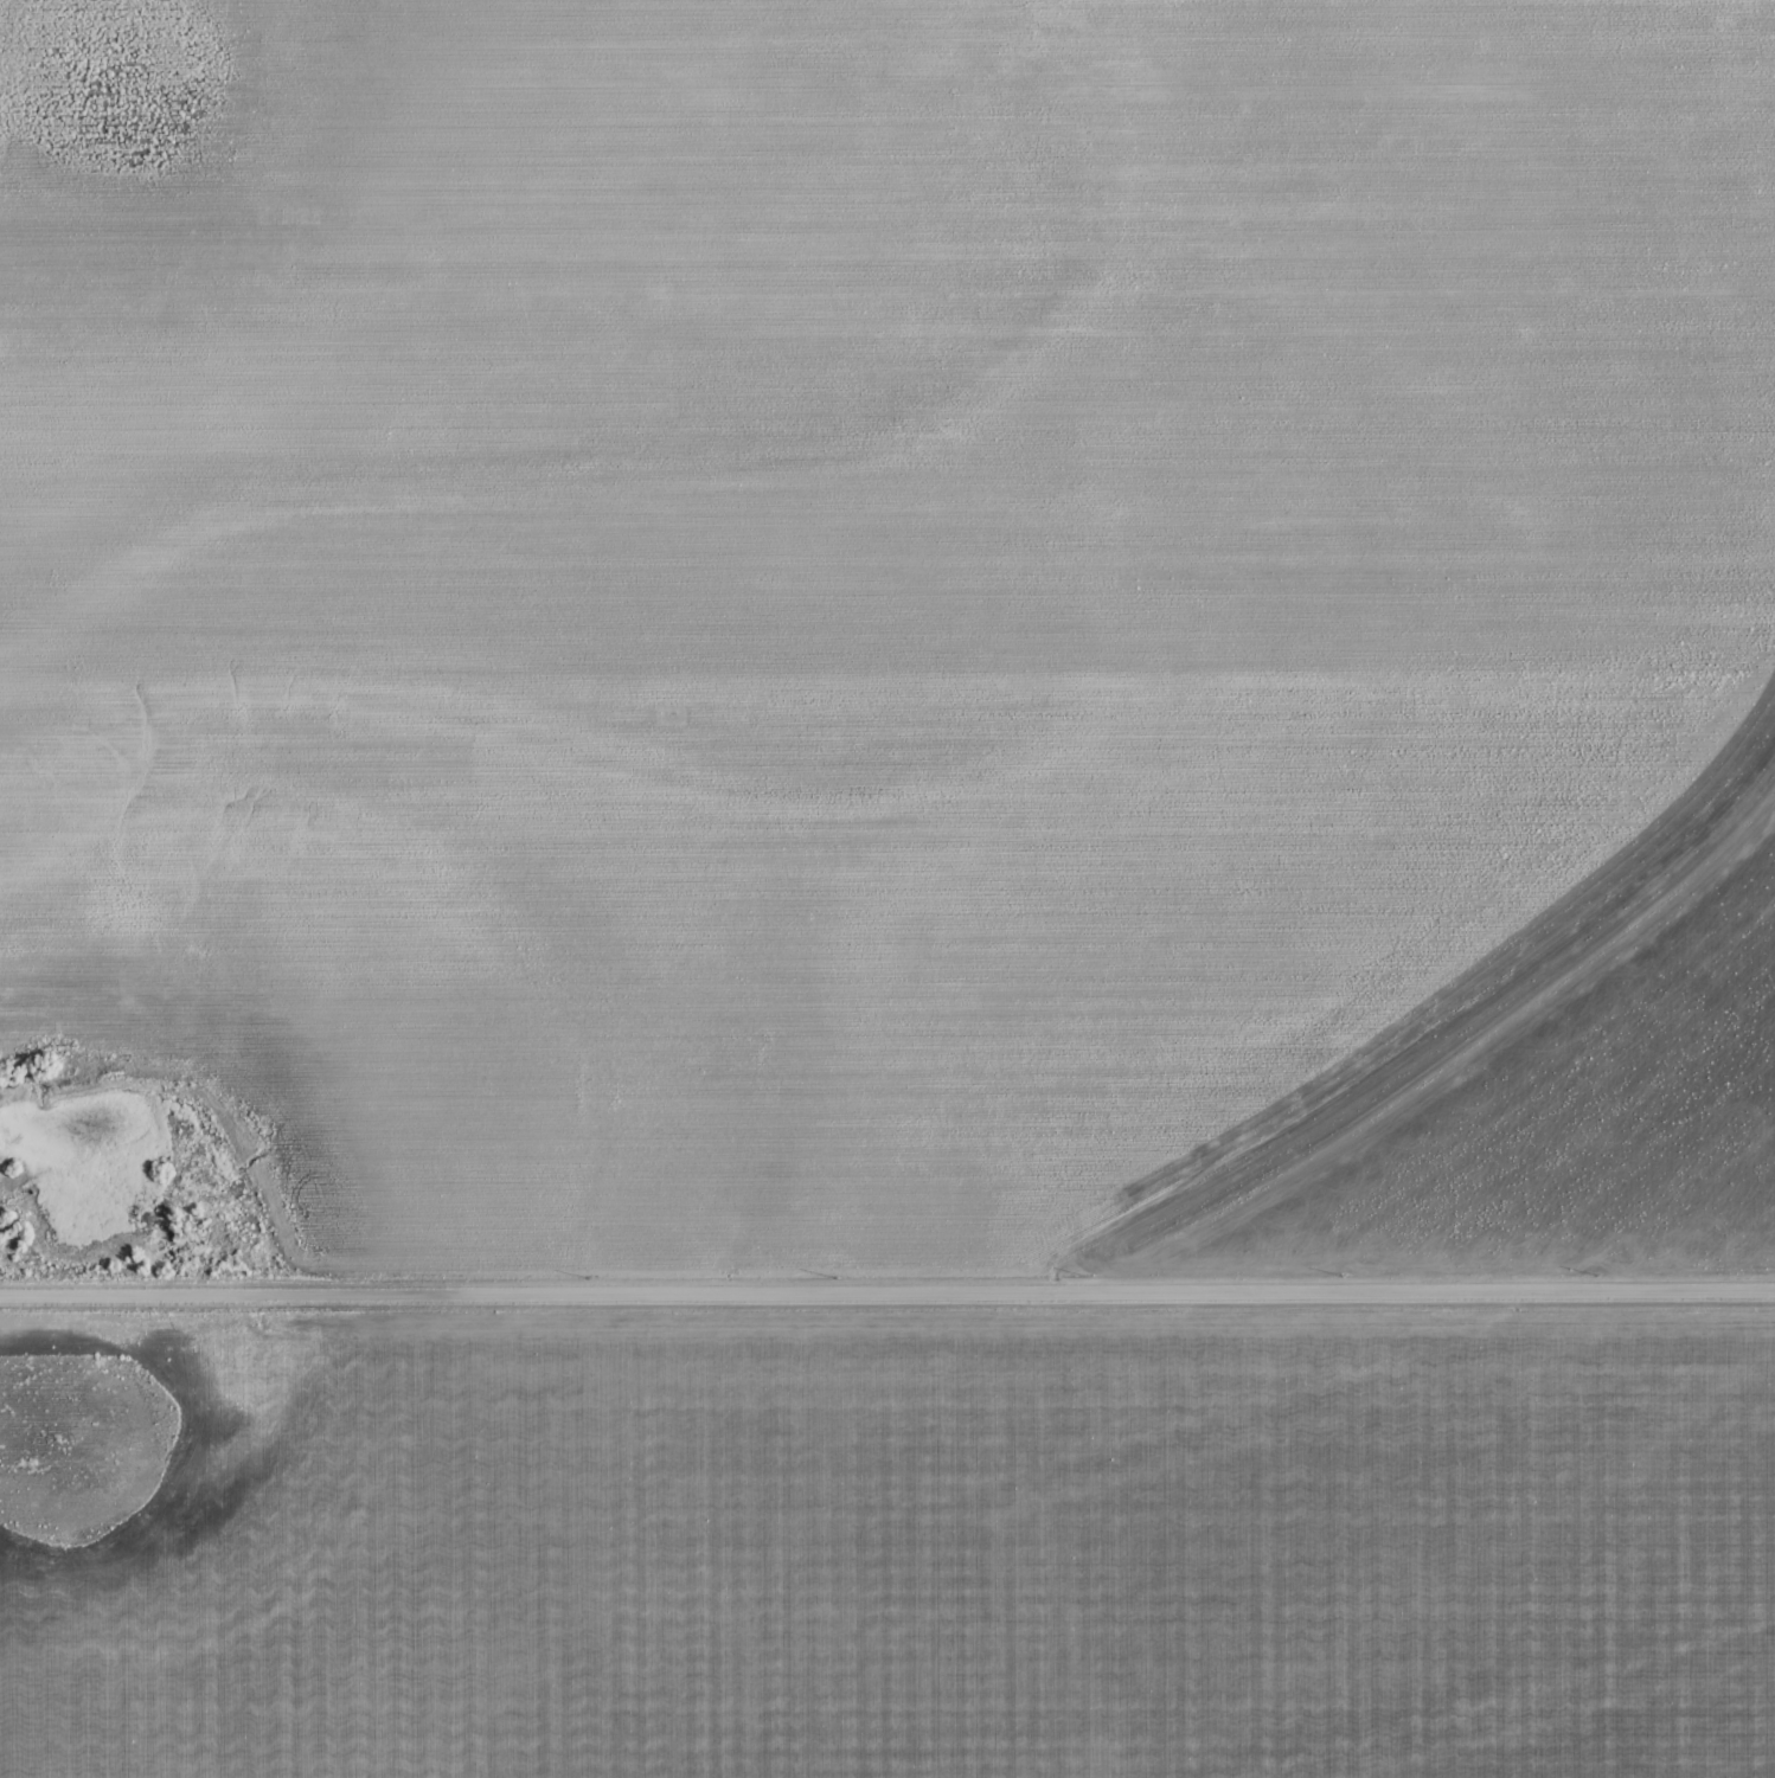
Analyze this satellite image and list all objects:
road: (887, 1290)

